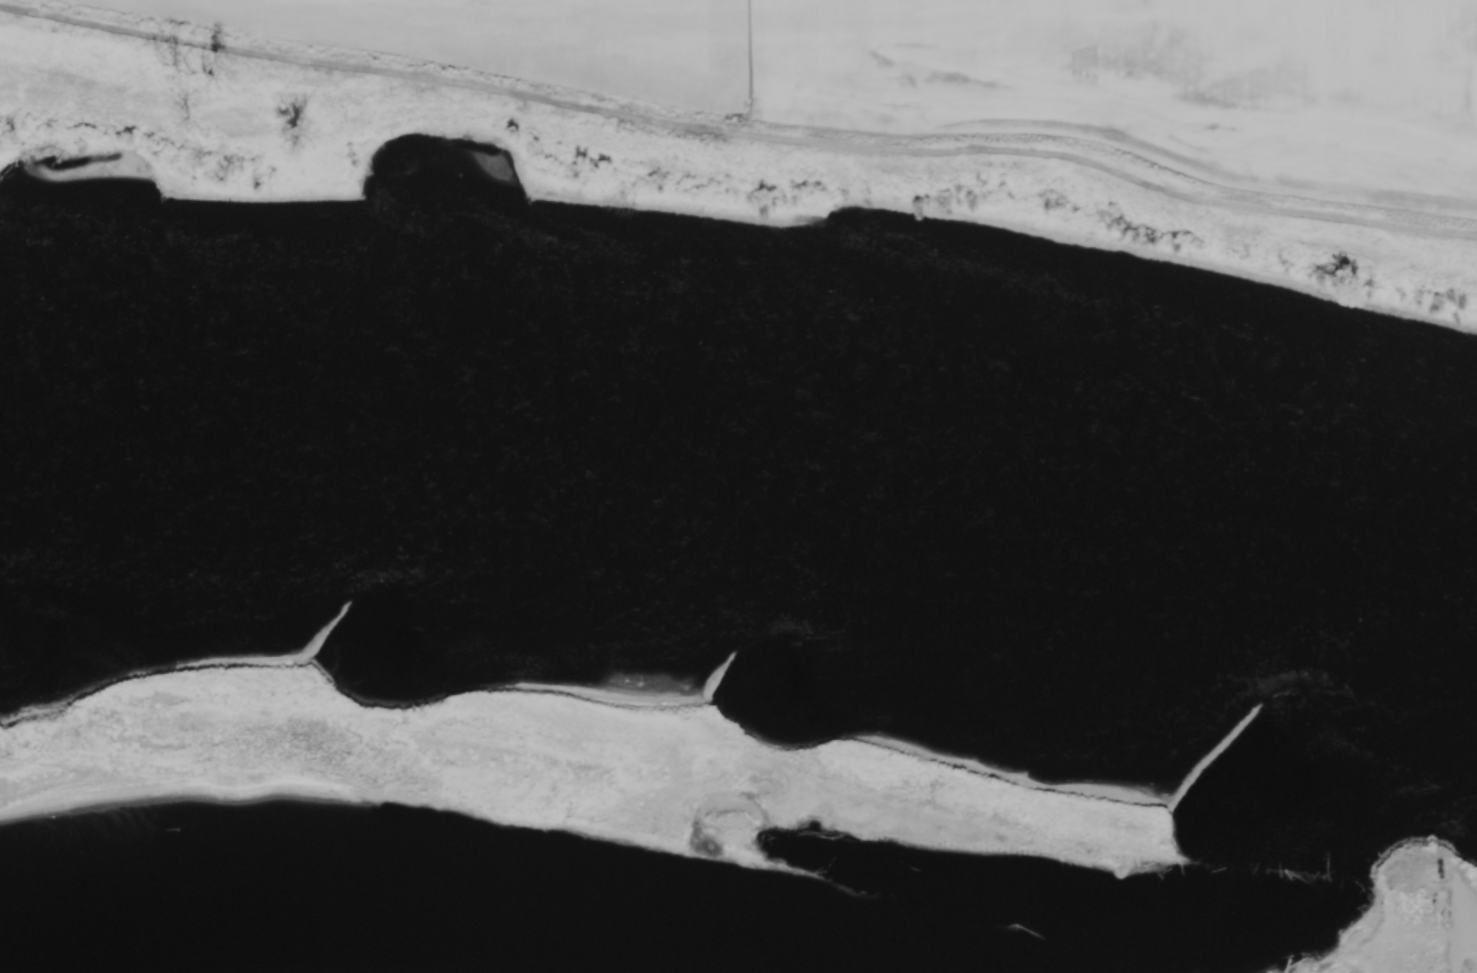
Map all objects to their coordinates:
river: (742, 442)
road: (1457, 903)
road: (1464, 944)

